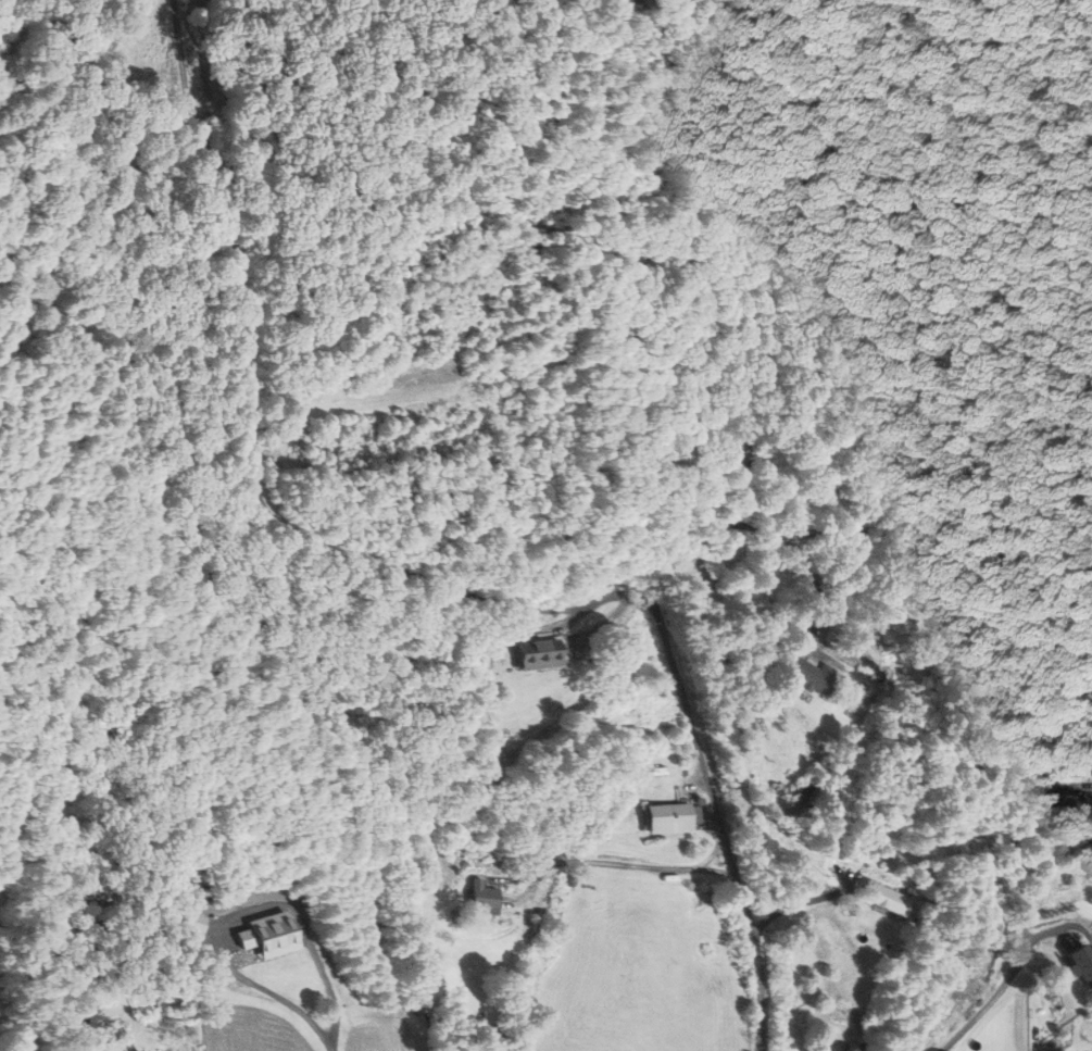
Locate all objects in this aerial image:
building: (547, 655)
road: (691, 720)
building: (668, 817)
road: (622, 862)
building: (487, 898)
building: (882, 898)
building: (1080, 961)
road: (1015, 972)

